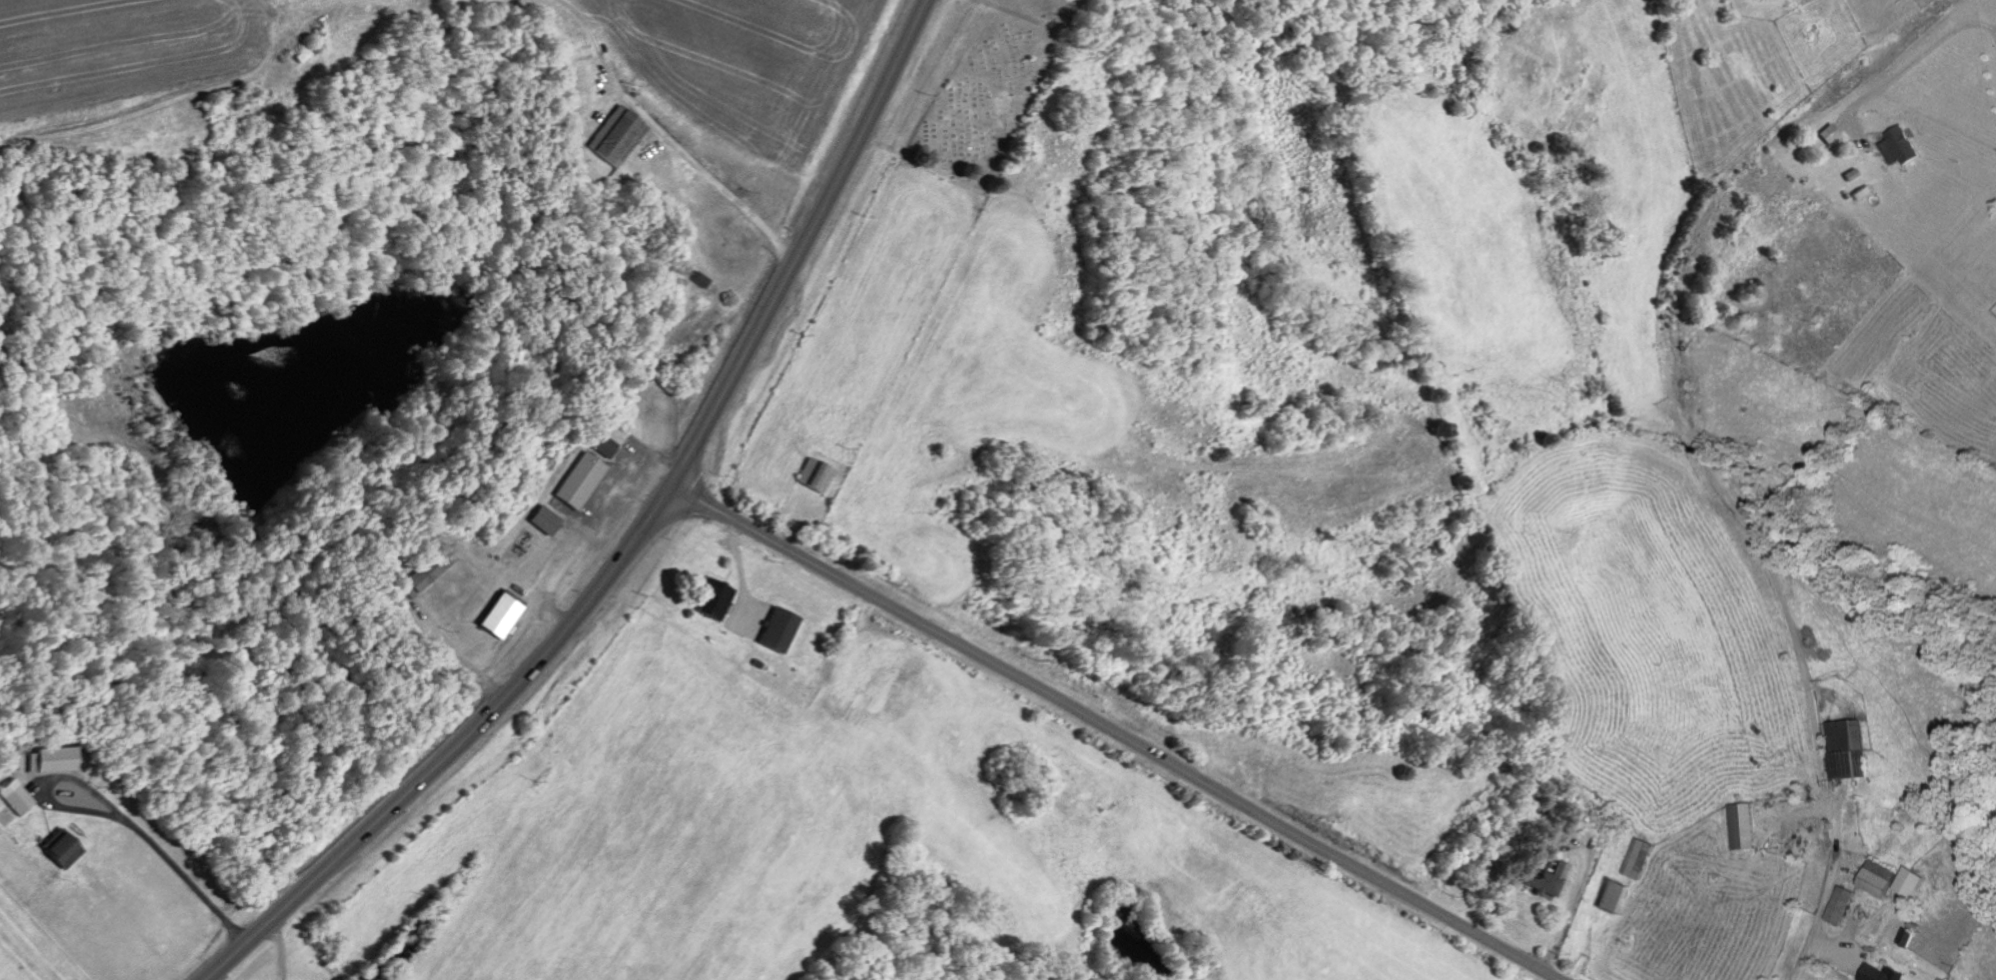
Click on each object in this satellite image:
road: (413, 32)
park: (976, 107)
building: (1831, 134)
building: (617, 137)
building: (1898, 146)
road: (806, 245)
building: (700, 280)
building: (599, 445)
building: (814, 476)
building: (578, 481)
building: (543, 521)
building: (430, 570)
building: (714, 601)
building: (498, 617)
building: (778, 631)
road: (1114, 733)
road: (457, 748)
building: (1849, 749)
building: (47, 761)
building: (14, 798)
road: (1812, 807)
building: (1742, 826)
building: (61, 852)
building: (1641, 858)
building: (1560, 868)
building: (1879, 878)
building: (1543, 882)
building: (1911, 882)
building: (1613, 896)
building: (1840, 905)
building: (1882, 973)

